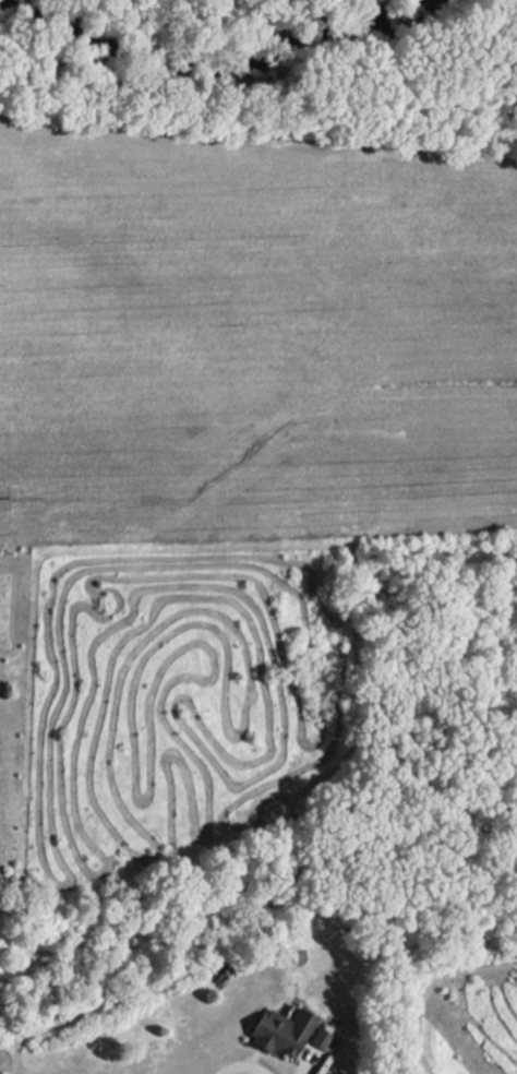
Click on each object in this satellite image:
river: (208, 57)
building: (280, 1030)
building: (320, 1038)
road: (241, 1059)

